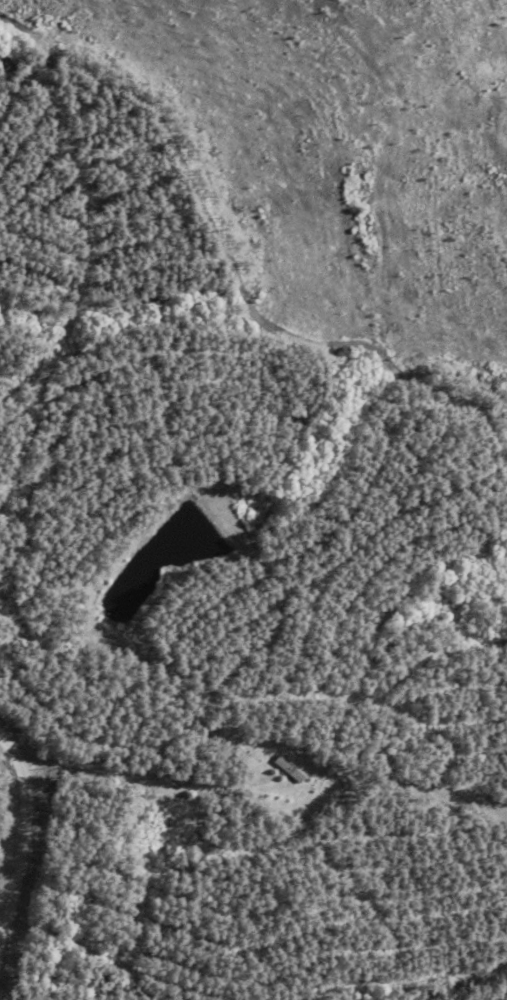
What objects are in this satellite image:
road: (24, 827)

